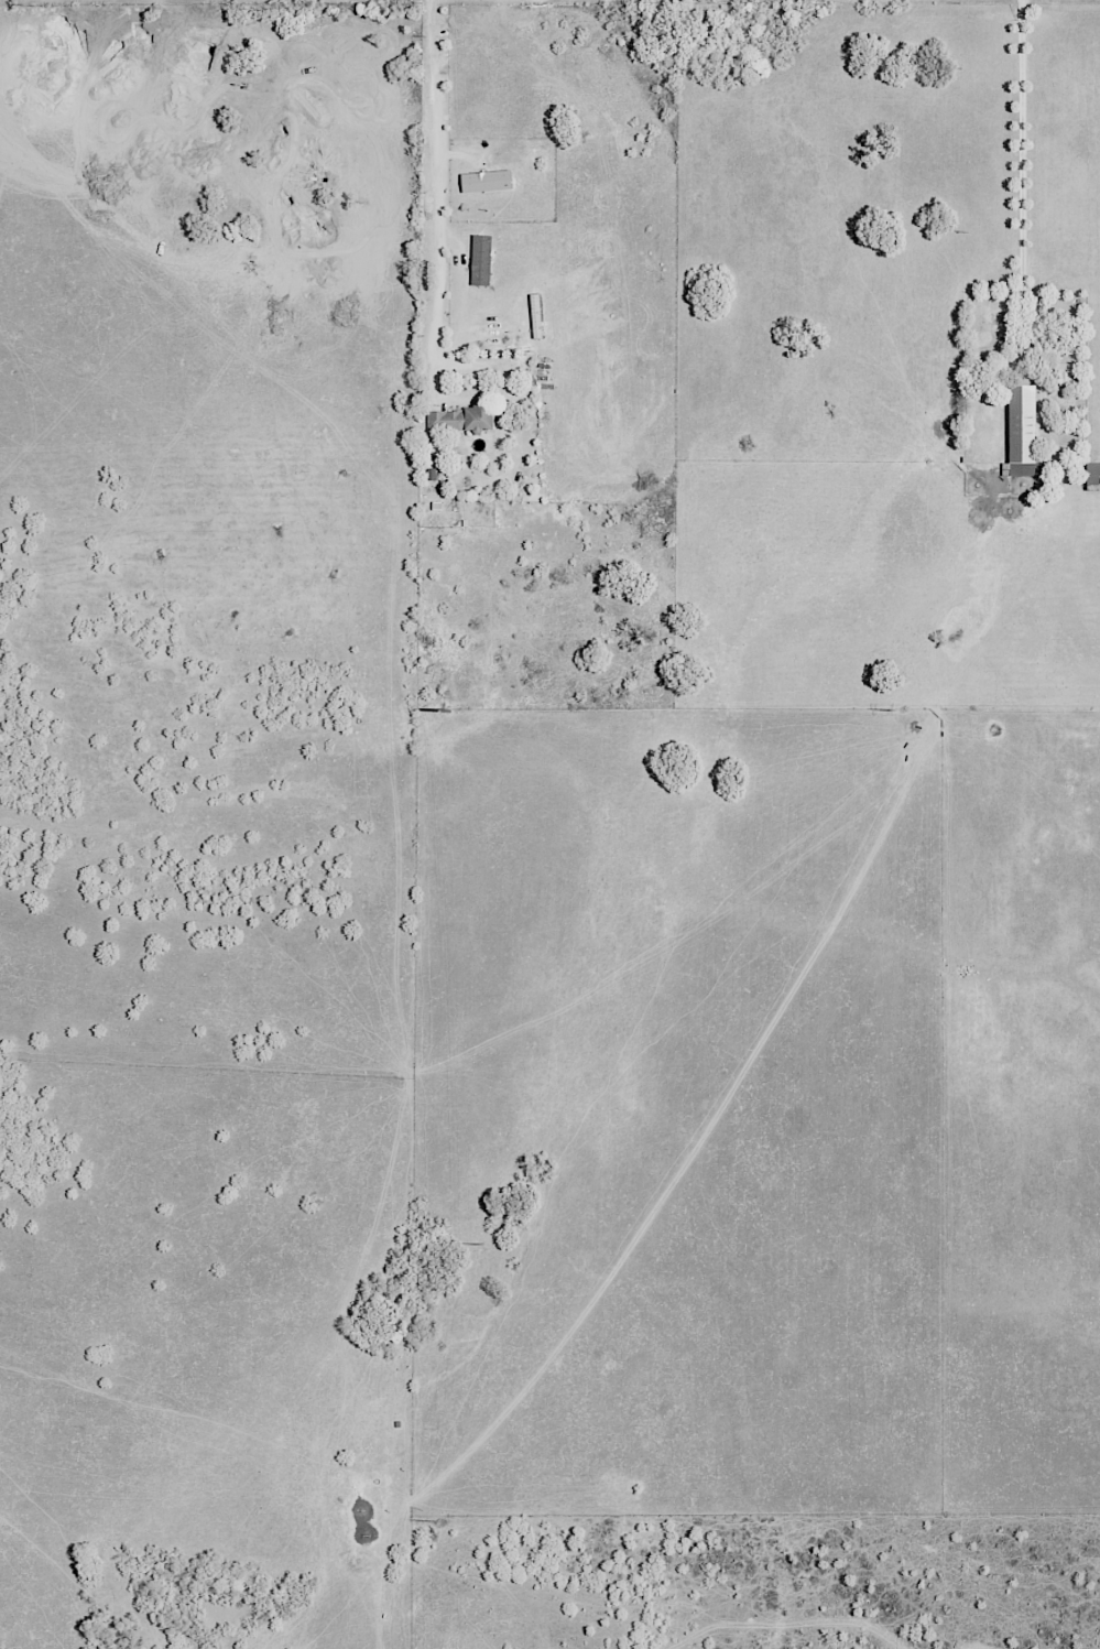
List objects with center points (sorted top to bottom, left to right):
road: (1020, 143)
building: (484, 182)
road: (436, 198)
building: (480, 261)
building: (1065, 375)
building: (458, 420)
building: (1022, 435)
building: (1091, 476)
power tower: (896, 712)
power tower: (449, 713)
power tower: (487, 1240)
power tower: (439, 1516)

